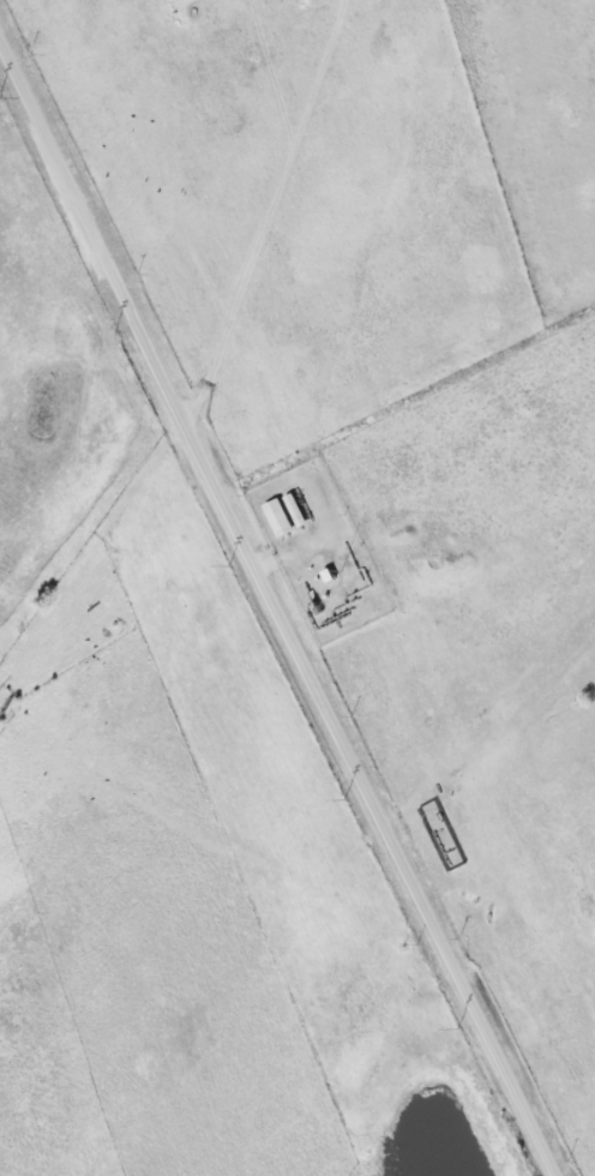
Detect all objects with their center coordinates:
road: (270, 215)
building: (284, 512)
road: (277, 610)
building: (438, 835)

